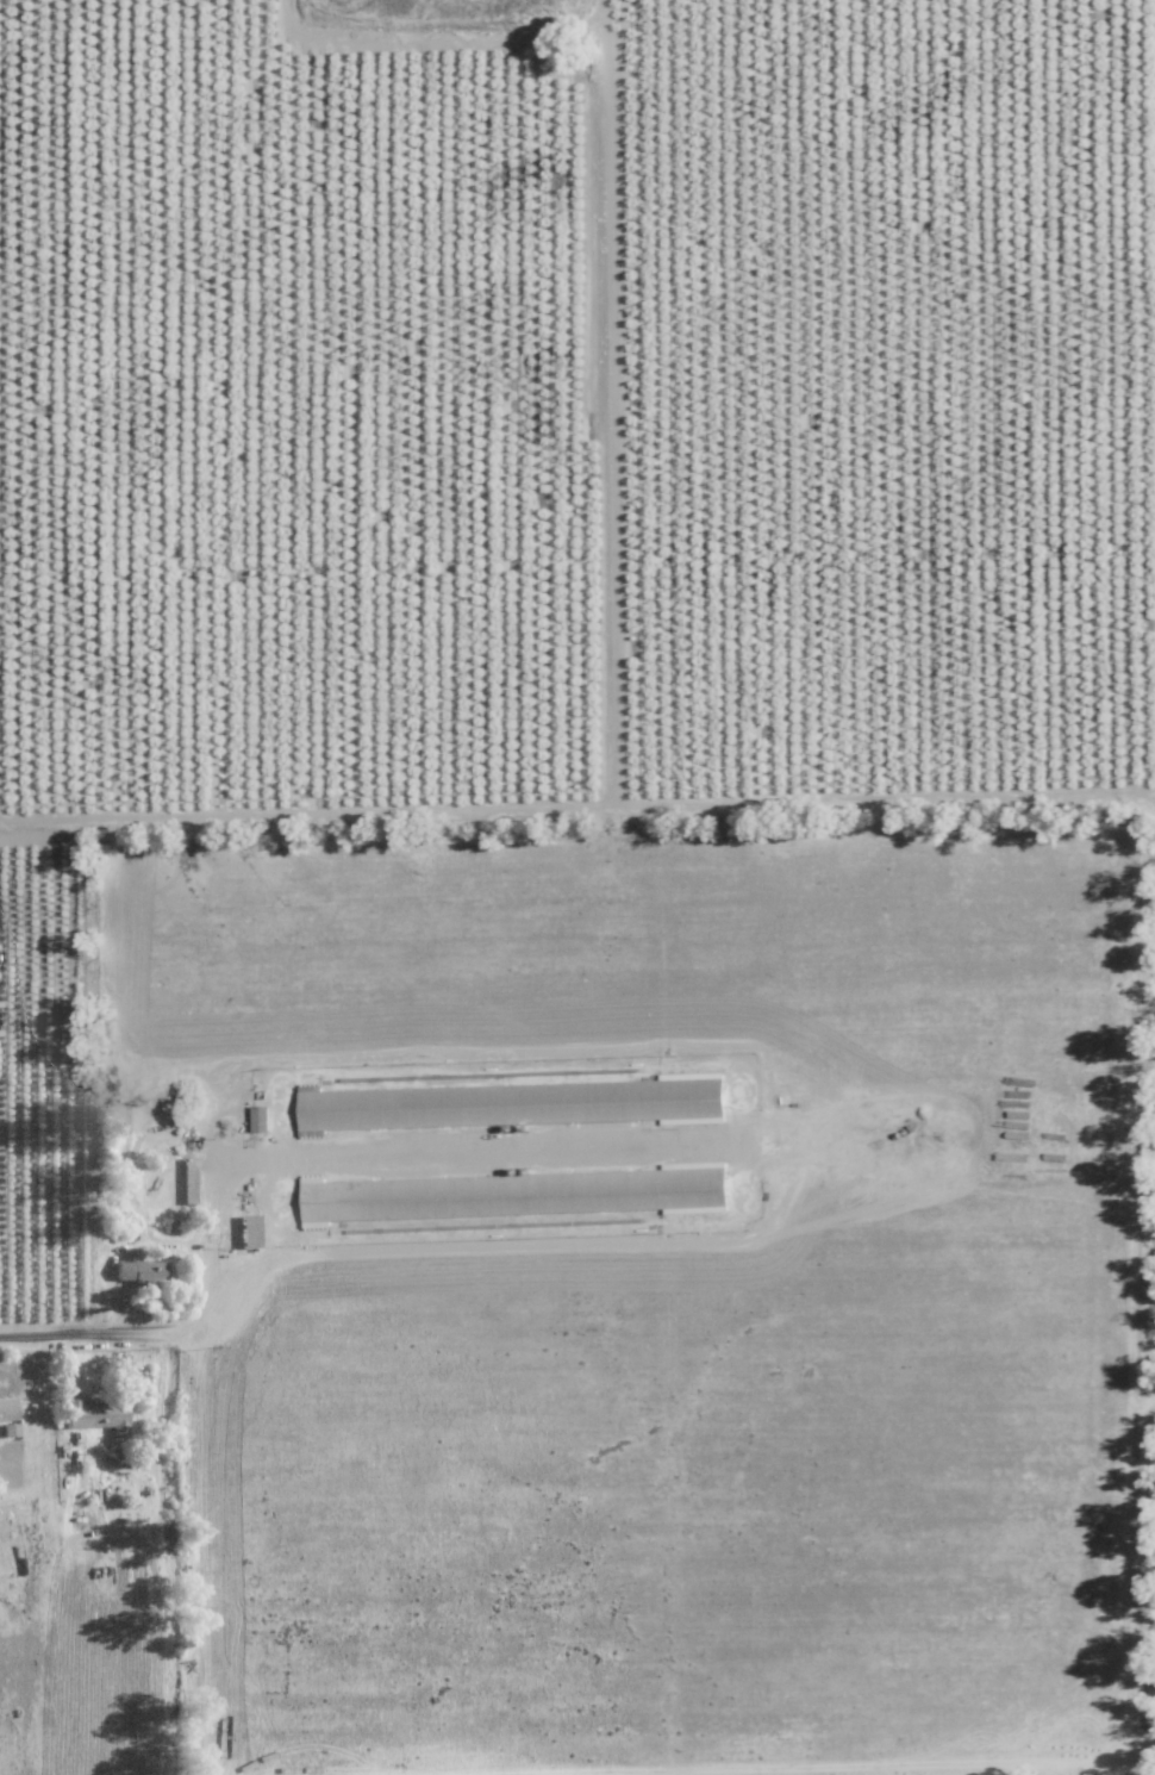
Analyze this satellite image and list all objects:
road: (577, 799)
building: (658, 1098)
building: (374, 1108)
building: (262, 1117)
building: (142, 1272)
road: (223, 1307)
road: (32, 1334)
building: (7, 1409)
building: (96, 1414)

